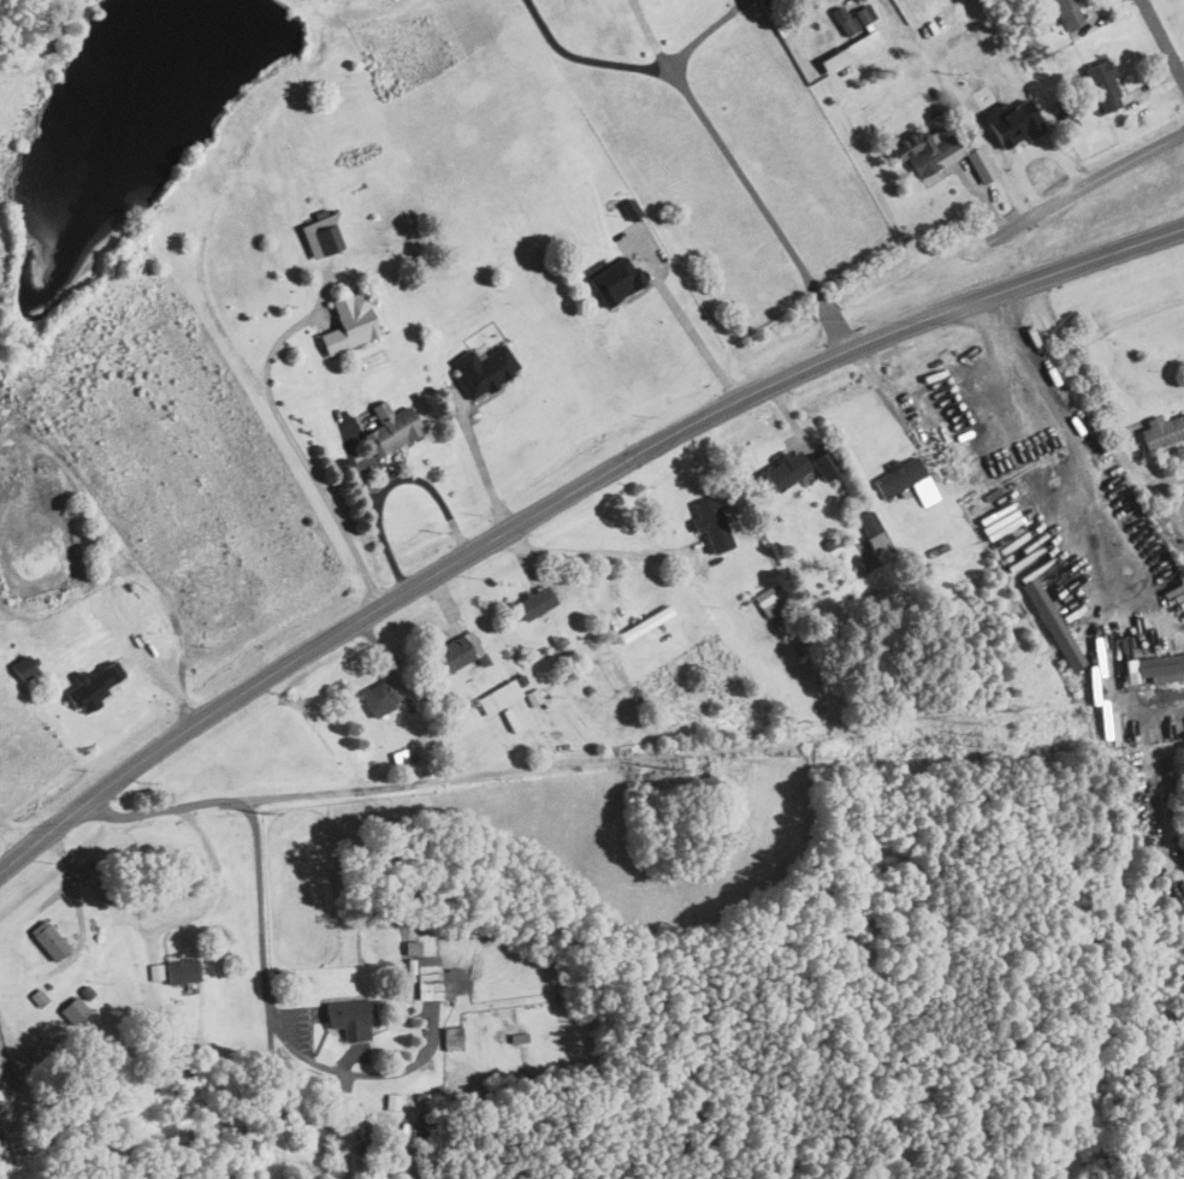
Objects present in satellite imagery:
building: (1067, 13)
building: (857, 19)
road: (1166, 32)
road: (651, 40)
building: (852, 49)
road: (588, 59)
building: (1105, 85)
building: (999, 103)
road: (971, 123)
building: (964, 142)
building: (927, 149)
road: (735, 164)
building: (979, 164)
road: (1085, 184)
building: (631, 208)
building: (326, 233)
building: (617, 278)
road: (1125, 320)
building: (350, 321)
road: (694, 334)
building: (484, 369)
road: (1103, 403)
building: (391, 428)
building: (1161, 431)
road: (300, 457)
road: (1084, 464)
building: (804, 468)
road: (479, 469)
building: (899, 476)
road: (391, 481)
road: (88, 491)
road: (566, 497)
building: (714, 523)
building: (874, 532)
road: (599, 555)
road: (73, 598)
building: (772, 598)
building: (534, 603)
building: (644, 621)
building: (1053, 623)
road: (182, 647)
building: (456, 653)
building: (25, 665)
building: (1160, 666)
building: (95, 686)
building: (498, 697)
building: (378, 698)
power tower: (970, 734)
power tower: (664, 769)
road: (379, 786)
power tower: (264, 812)
road: (17, 833)
road: (257, 835)
road: (213, 894)
road: (78, 911)
building: (49, 937)
building: (413, 946)
building: (182, 970)
building: (155, 971)
building: (440, 978)
building: (40, 997)
building: (75, 1008)
building: (349, 1015)
building: (454, 1036)
road: (345, 1070)
building: (392, 1100)
building: (366, 1127)

